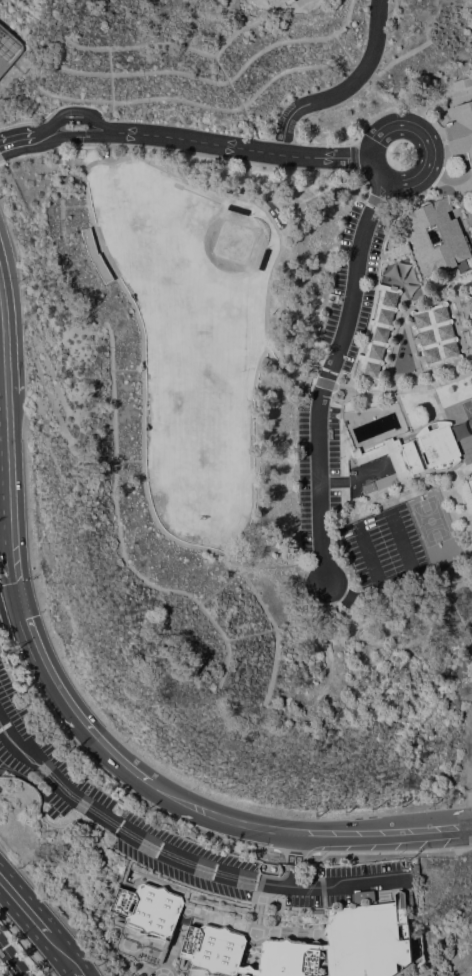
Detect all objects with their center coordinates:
building: (286, 1)
power substation: (9, 49)
building: (462, 82)
road: (346, 89)
building: (443, 107)
road: (91, 115)
road: (50, 120)
road: (103, 125)
building: (77, 126)
road: (47, 127)
building: (460, 131)
road: (108, 132)
road: (52, 134)
road: (109, 137)
road: (53, 139)
road: (11, 141)
road: (252, 150)
road: (430, 151)
road: (447, 177)
building: (239, 209)
building: (417, 233)
building: (97, 255)
building: (265, 258)
building: (469, 302)
building: (380, 331)
building: (437, 336)
road: (2, 353)
road: (325, 379)
building: (439, 444)
building: (394, 459)
road: (354, 480)
building: (369, 486)
building: (468, 490)
road: (9, 497)
road: (409, 560)
road: (379, 583)
traffic signals: (21, 603)
road: (10, 606)
road: (67, 706)
road: (470, 801)
road: (129, 833)
road: (306, 834)
road: (295, 861)
road: (349, 887)
road: (21, 904)
building: (148, 921)
building: (312, 945)
road: (61, 952)
road: (12, 959)
building: (150, 975)

